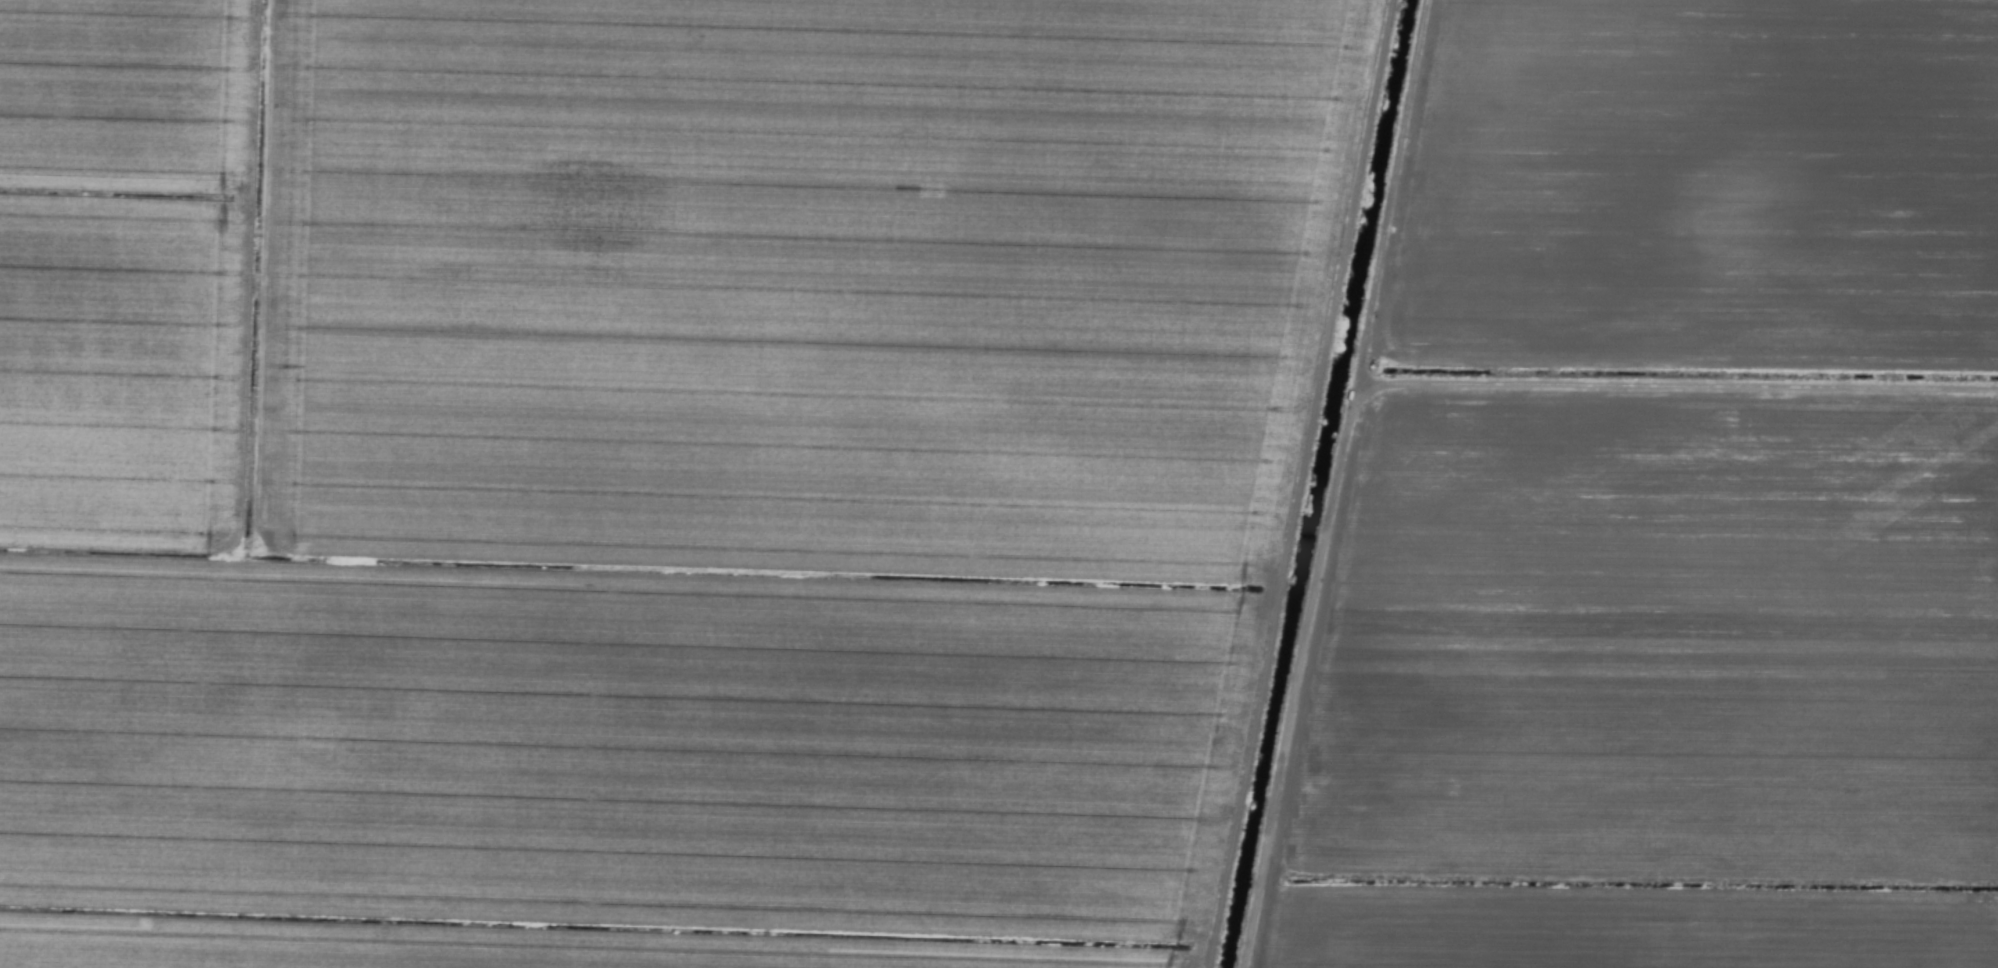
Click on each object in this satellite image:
crop: (999, 484)

